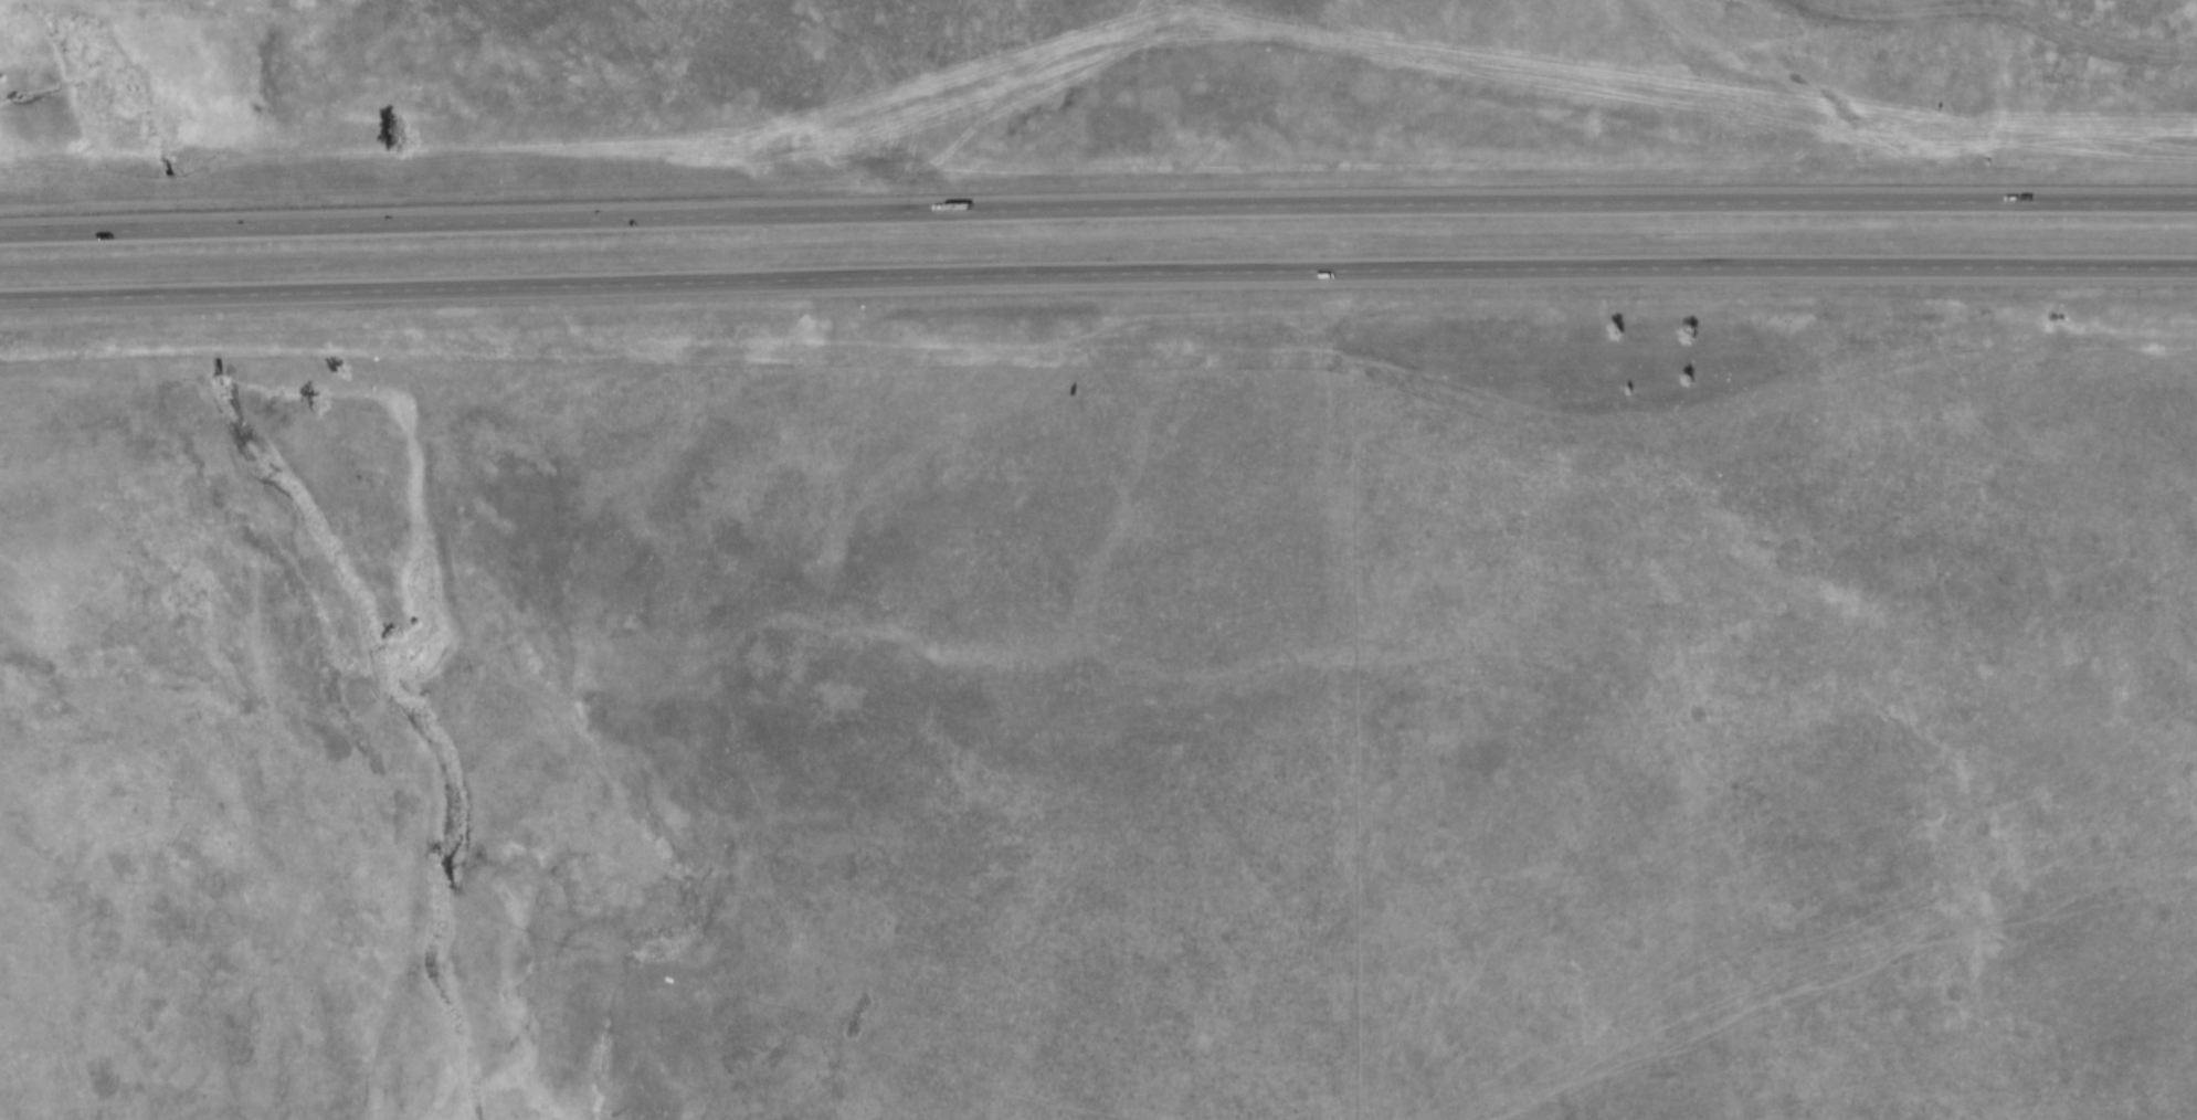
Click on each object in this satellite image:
road: (1098, 210)
road: (1098, 274)

